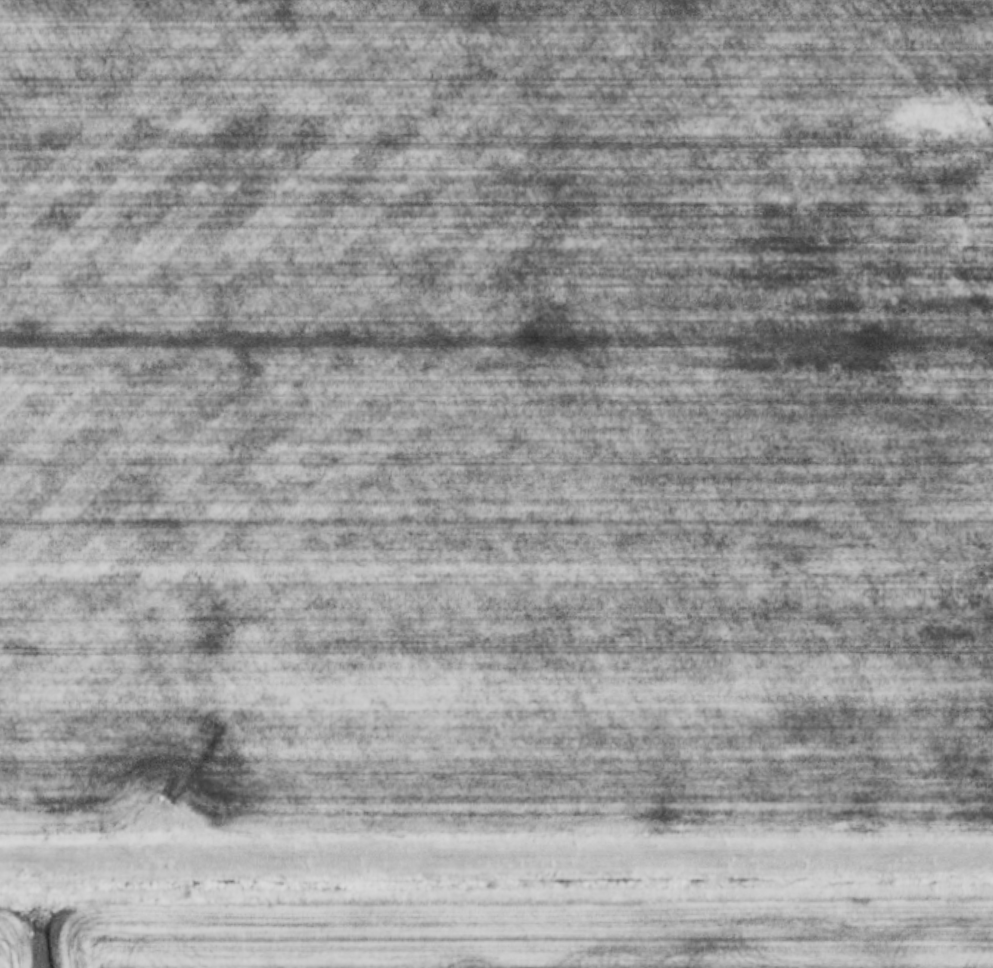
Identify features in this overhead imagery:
crop: (496, 408)
road: (496, 859)

